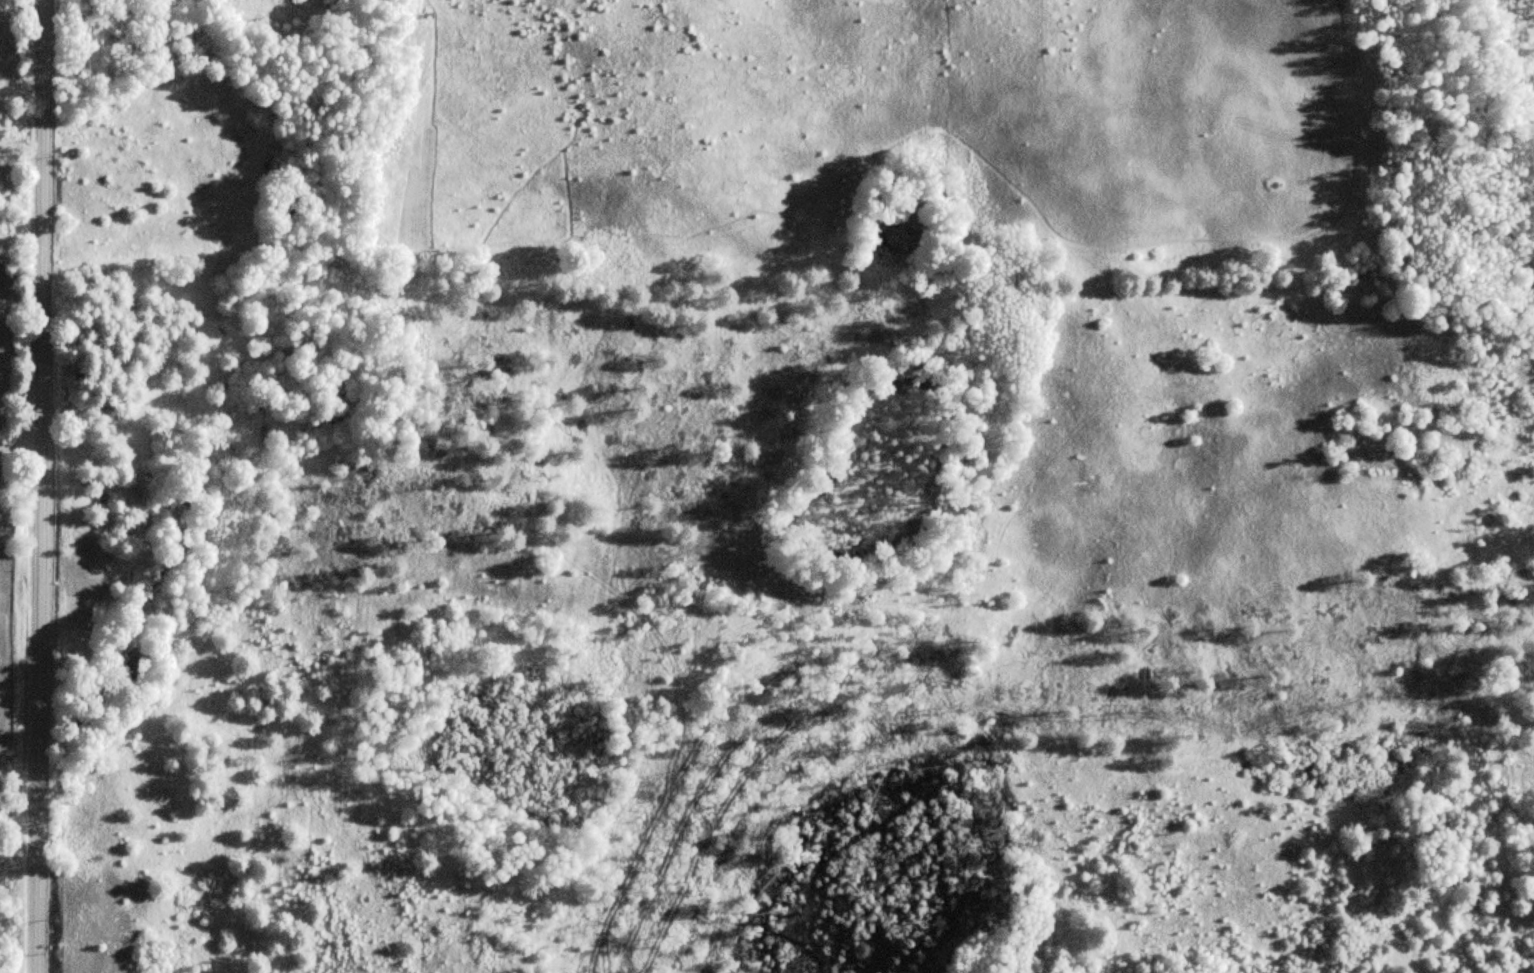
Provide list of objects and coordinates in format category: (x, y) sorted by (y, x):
road: (35, 486)

